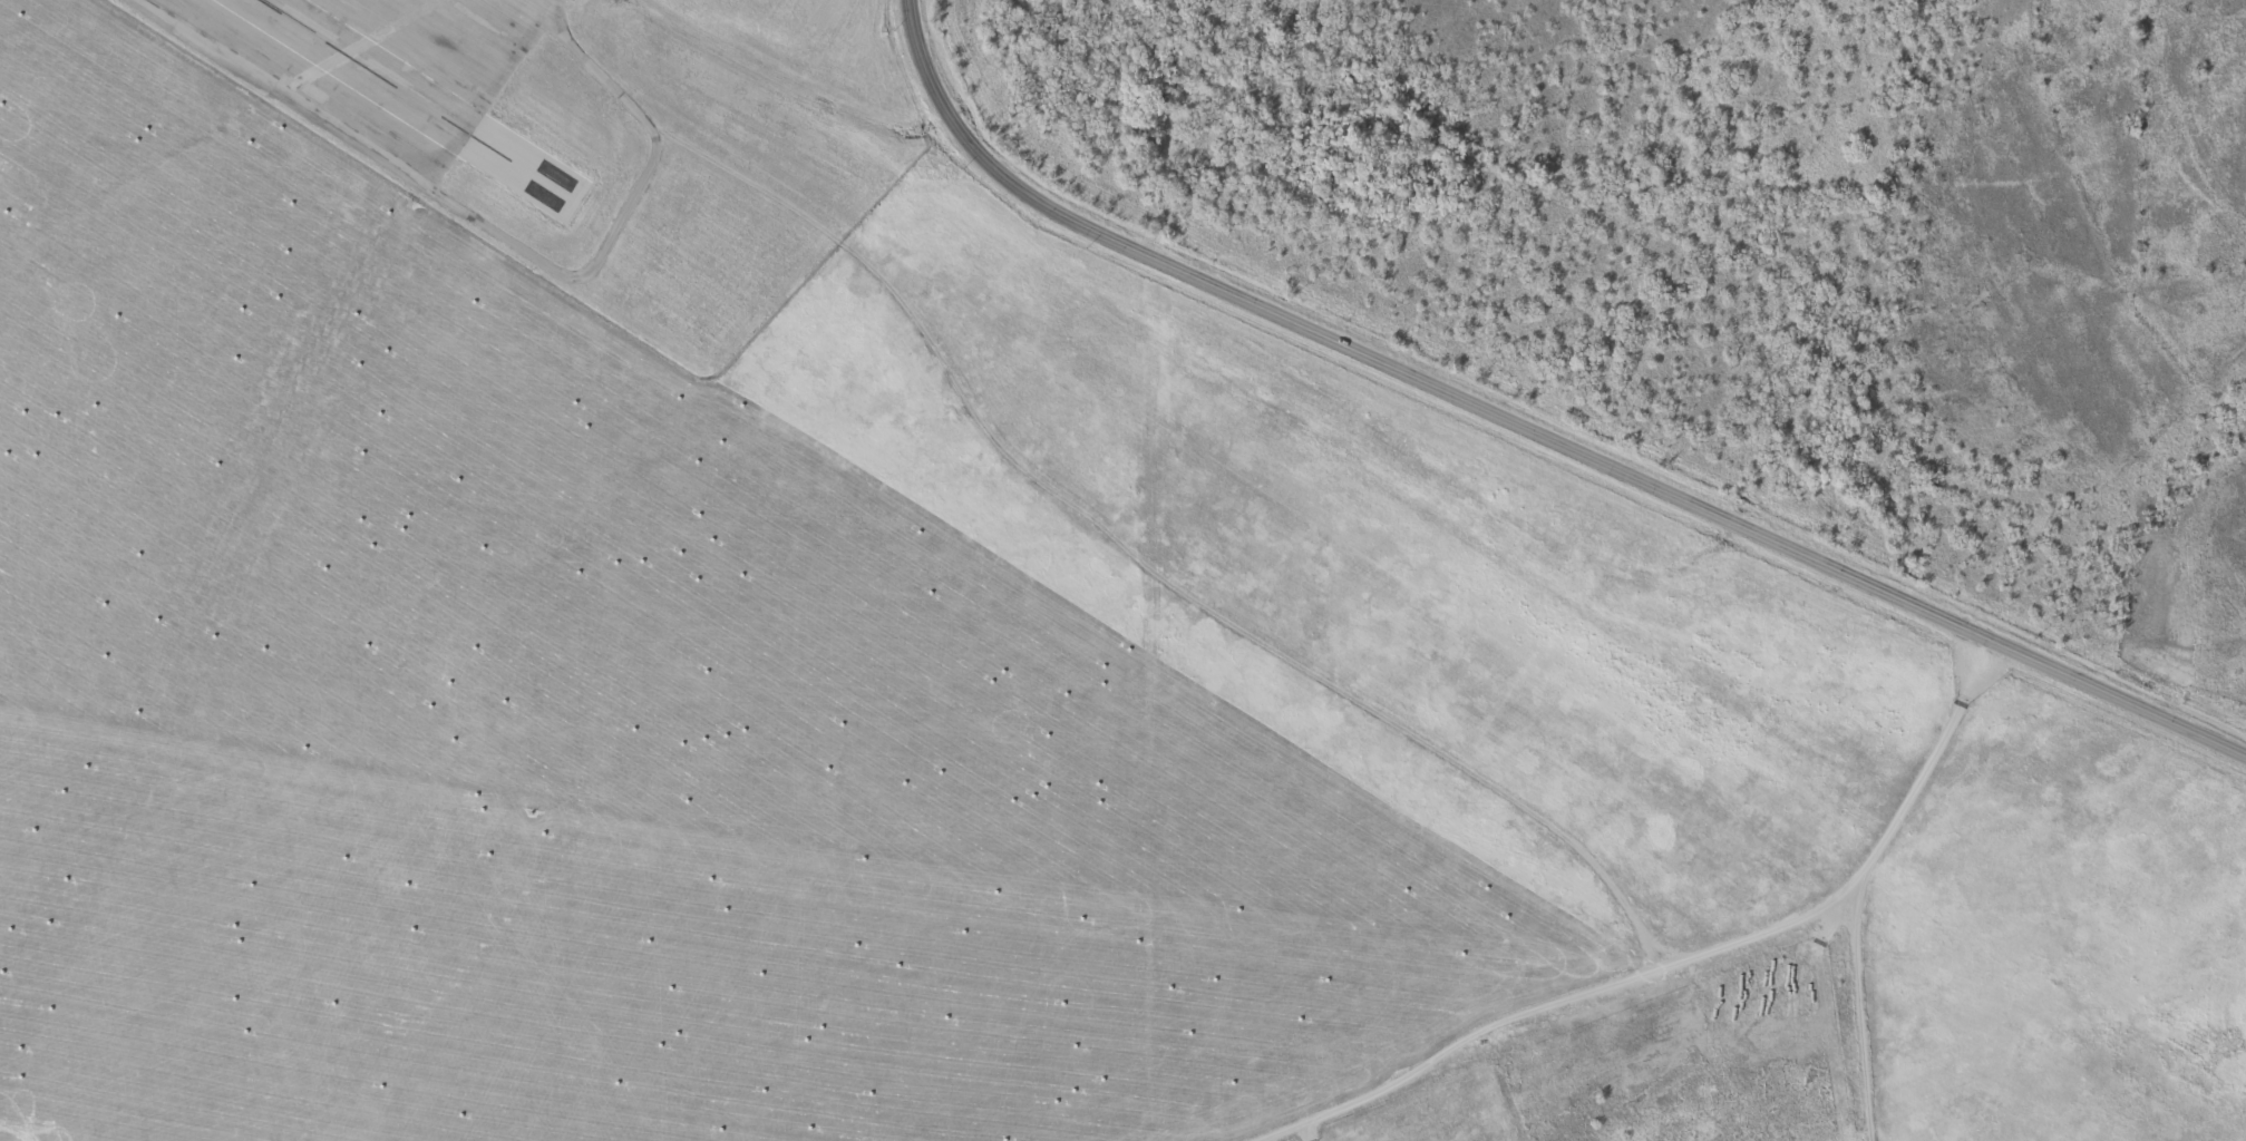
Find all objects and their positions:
airport runway: (435, 90)
airport: (600, 133)
road: (1536, 413)
road: (1927, 768)
road: (1548, 1007)

